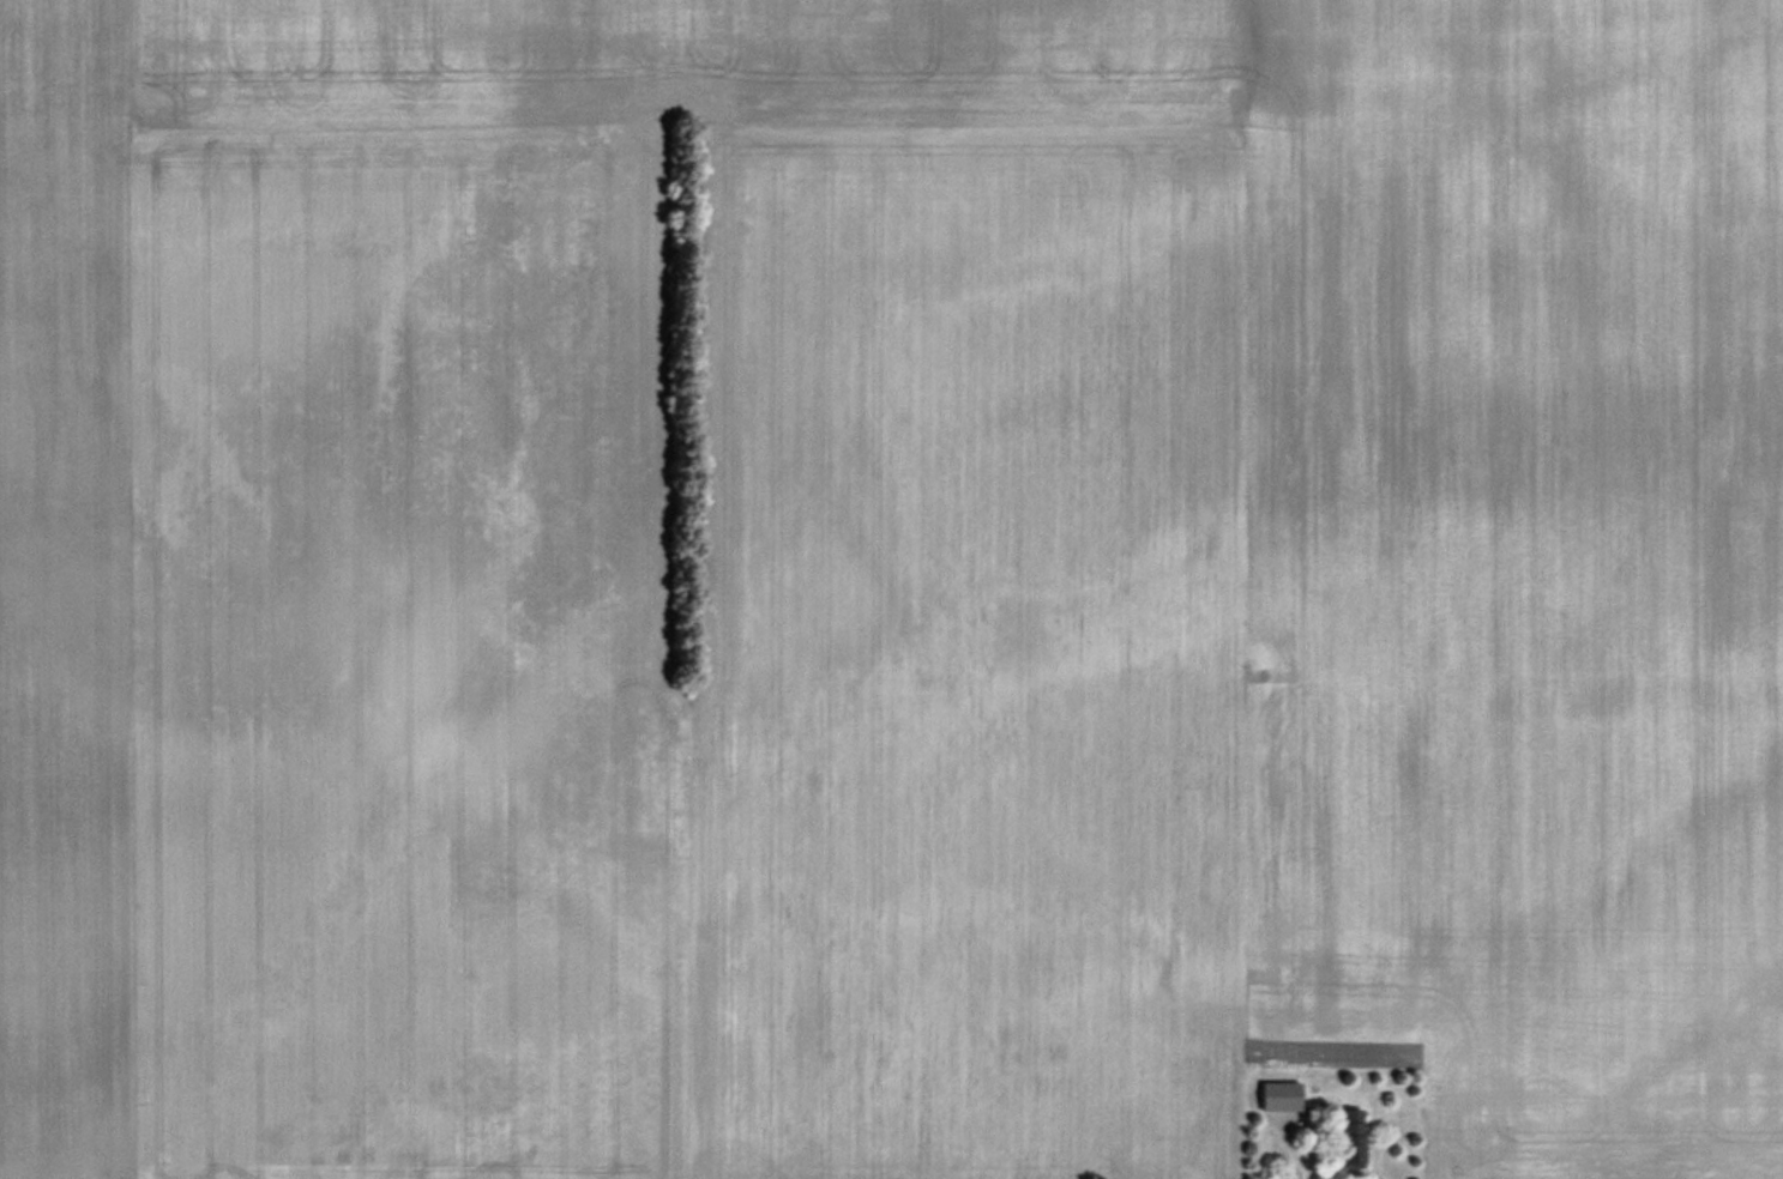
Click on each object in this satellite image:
building: (1277, 1095)
building: (1347, 1138)

